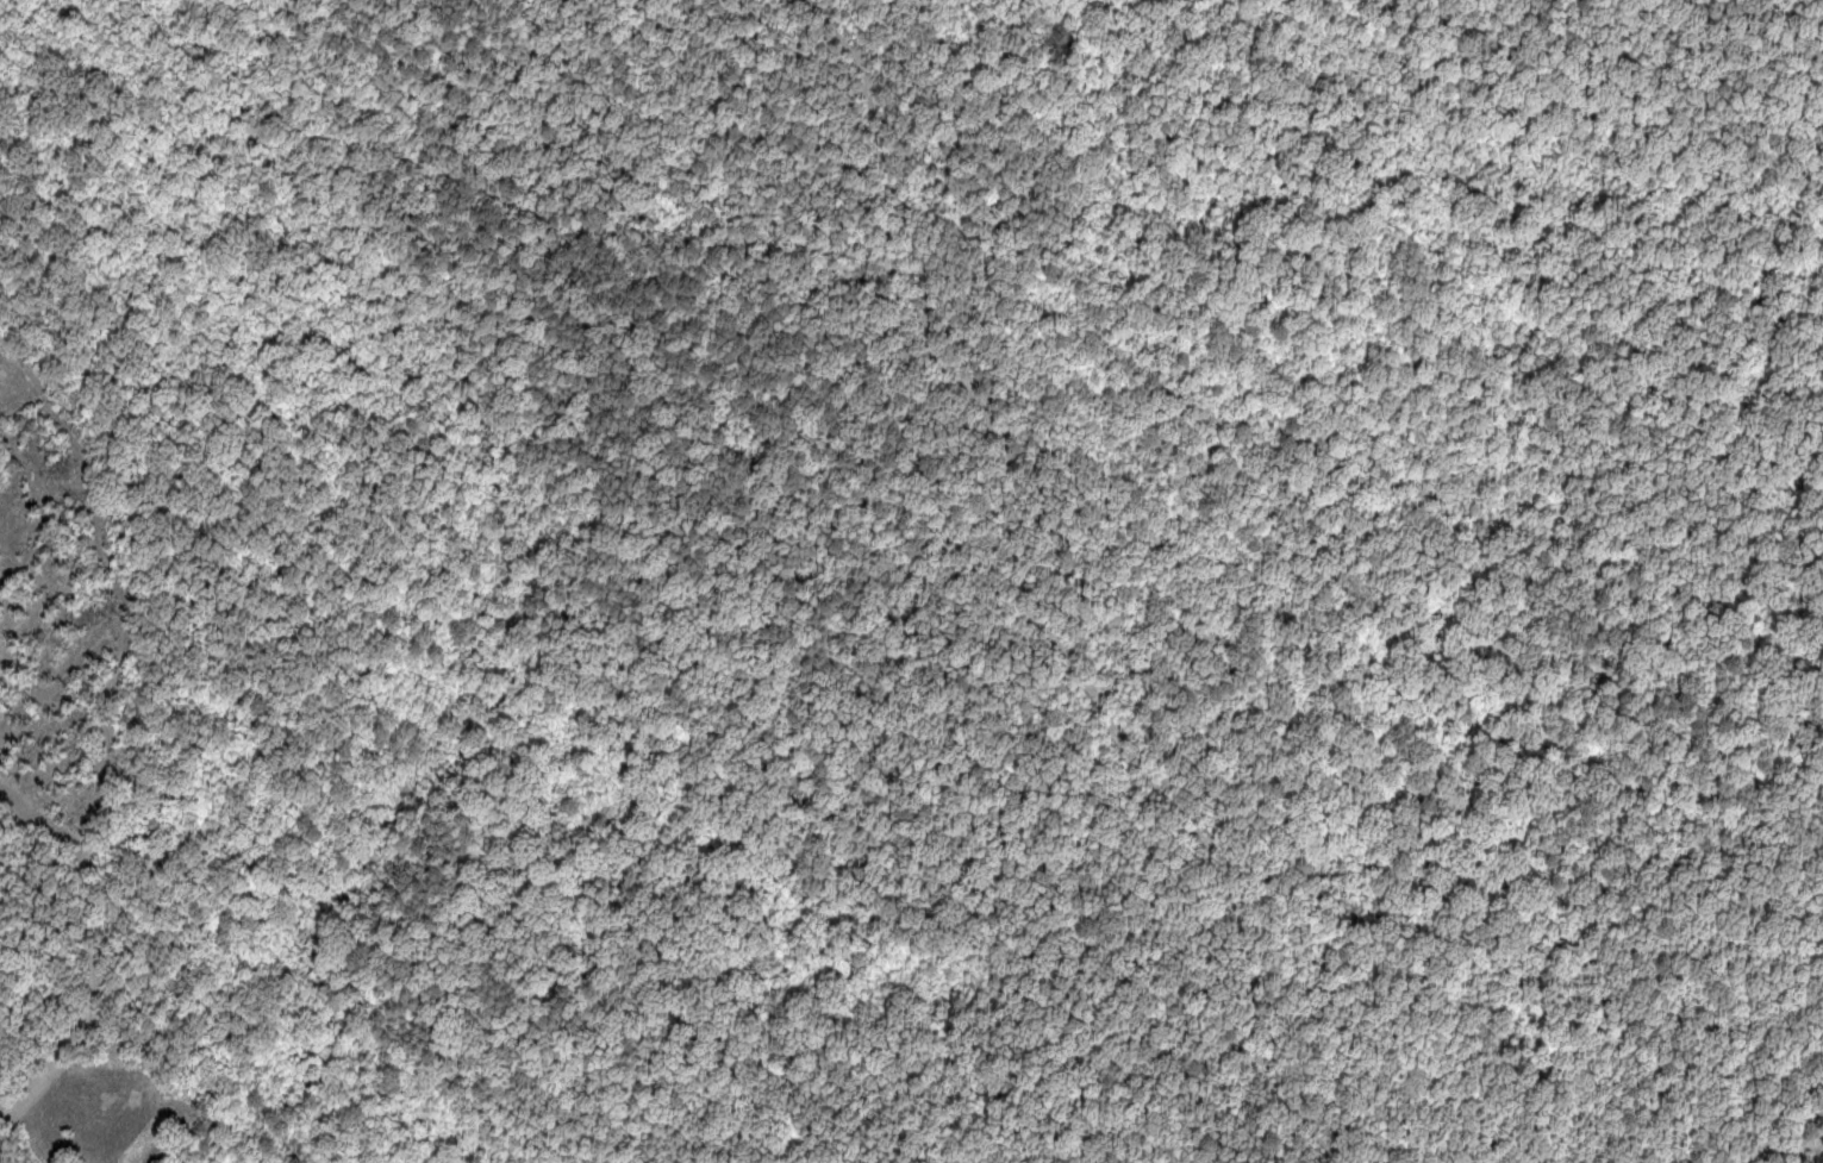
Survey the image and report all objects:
road: (1794, 1150)

